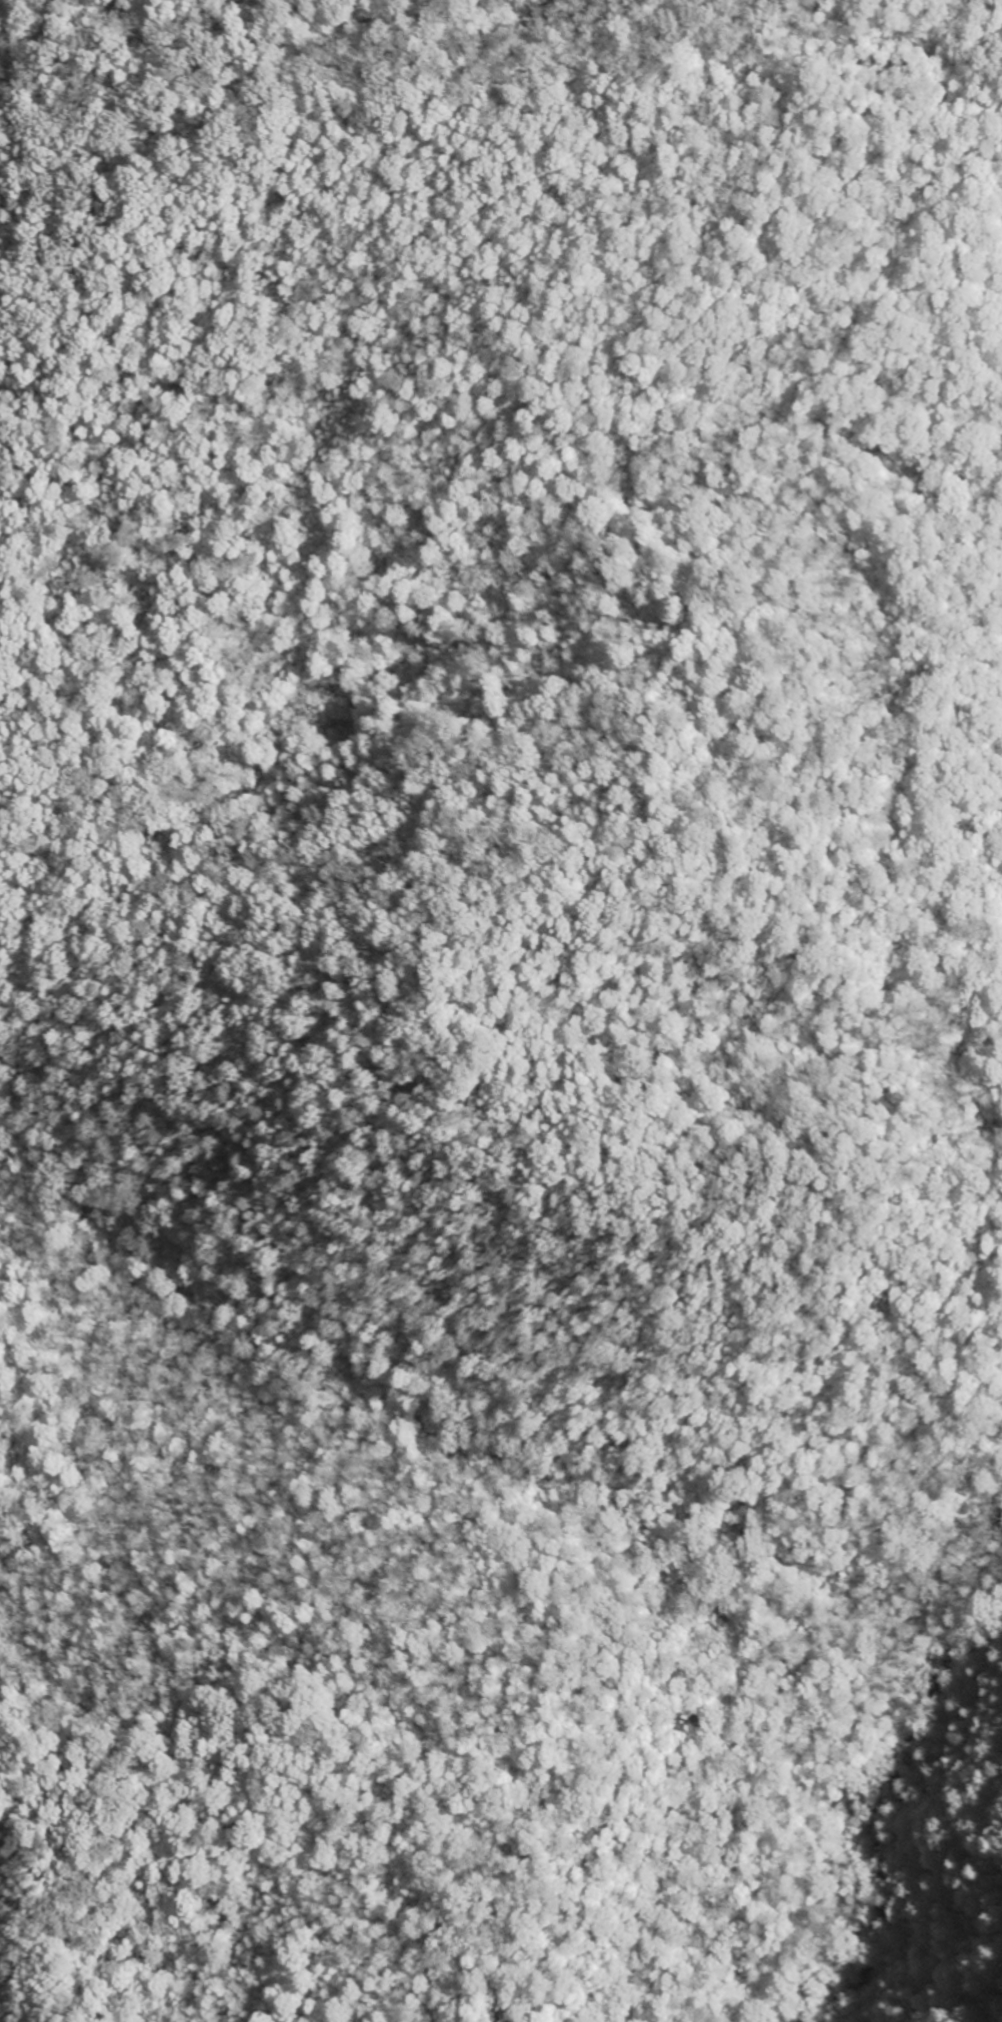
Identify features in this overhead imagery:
road: (981, 1915)

